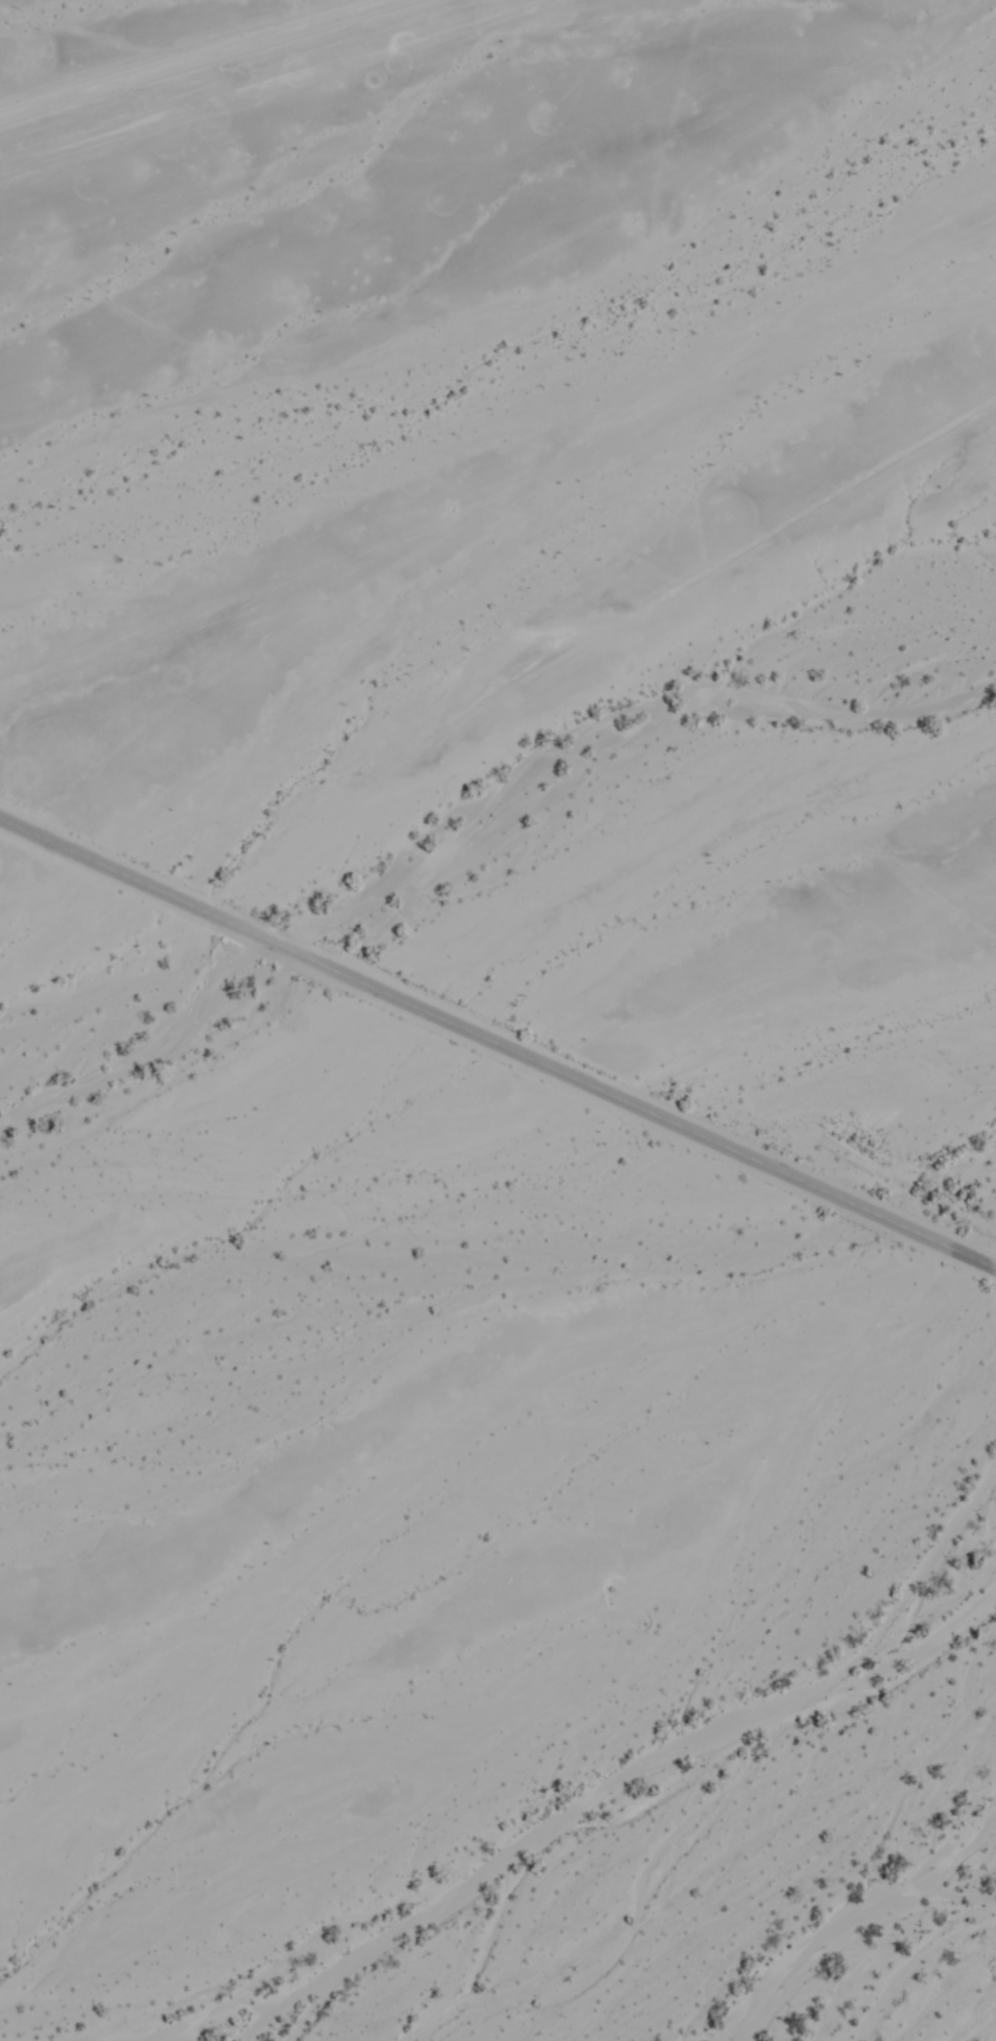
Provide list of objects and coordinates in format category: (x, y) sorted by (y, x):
road: (263, 83)
road: (498, 1046)

